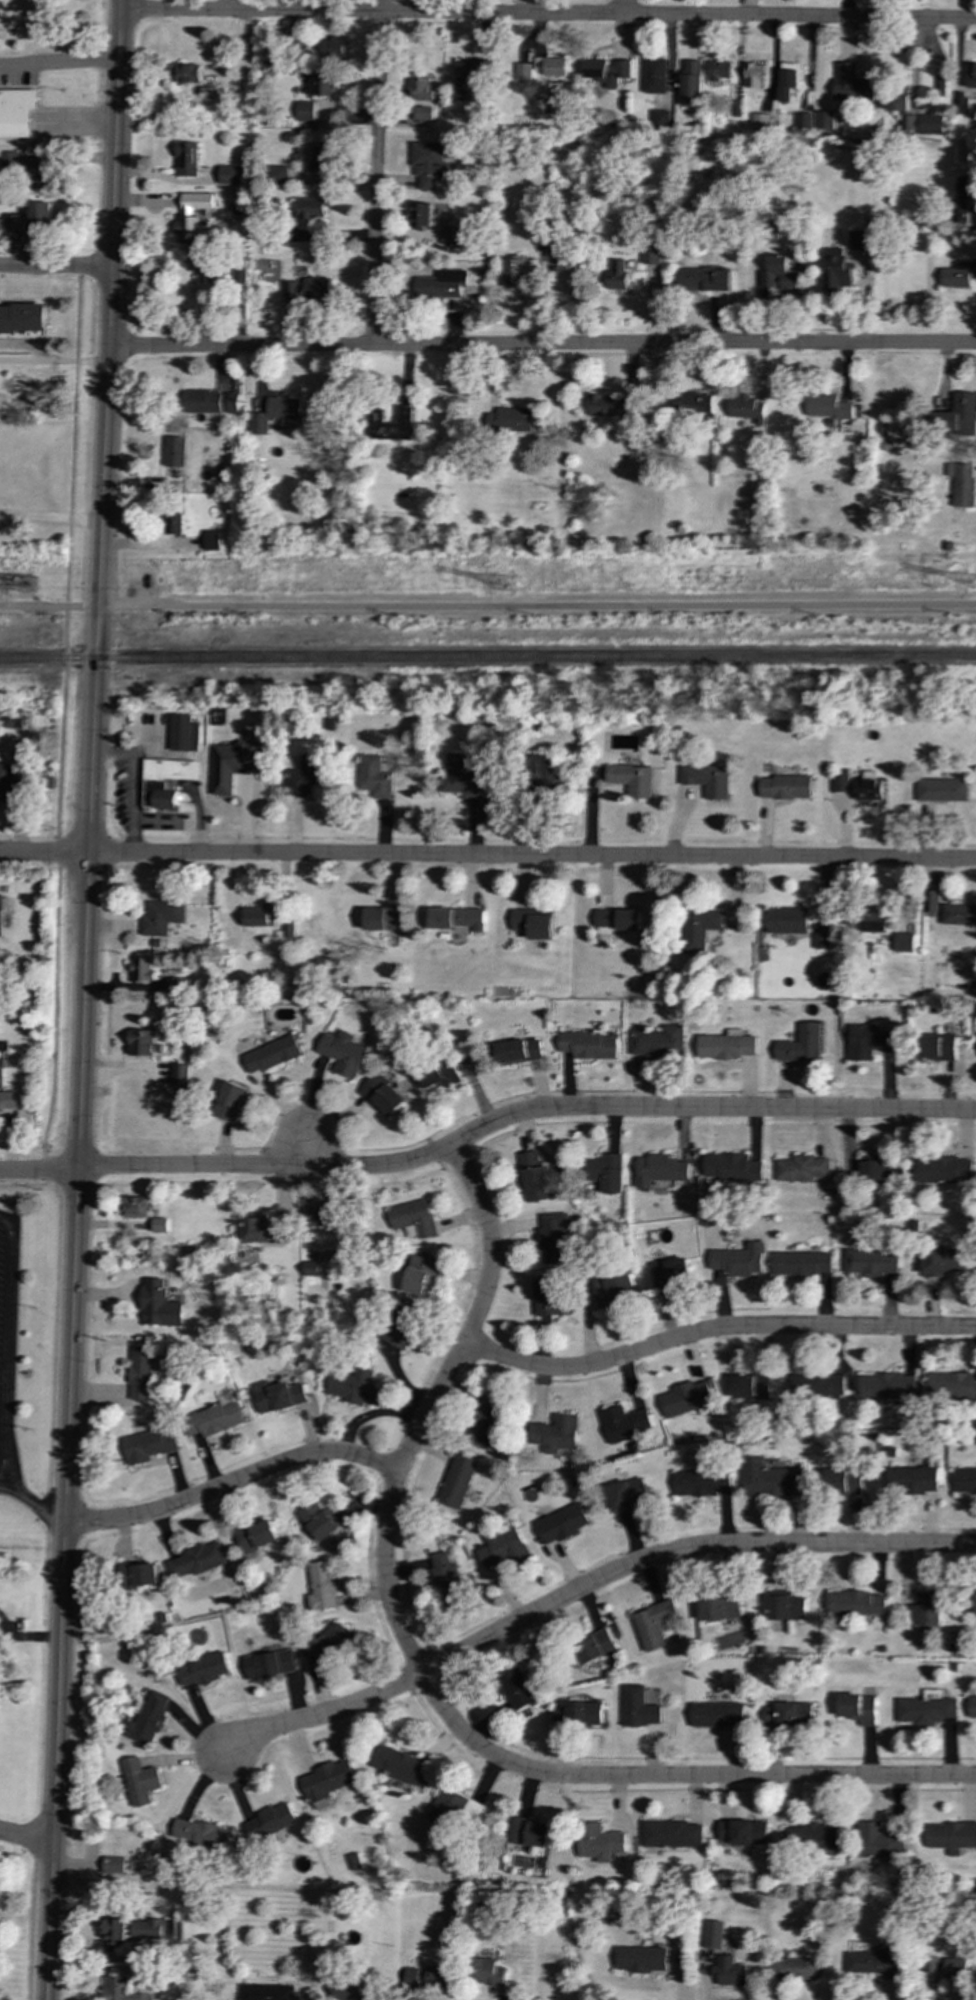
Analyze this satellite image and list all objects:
road: (625, 8)
road: (548, 15)
building: (331, 48)
road: (59, 60)
building: (550, 65)
building: (522, 71)
building: (607, 71)
building: (720, 71)
building: (184, 74)
building: (654, 75)
building: (753, 75)
building: (971, 75)
building: (468, 78)
building: (788, 80)
building: (690, 83)
building: (851, 84)
building: (323, 85)
building: (939, 85)
building: (419, 88)
building: (900, 109)
building: (305, 111)
building: (422, 113)
building: (659, 118)
building: (802, 120)
building: (823, 120)
road: (78, 121)
building: (760, 121)
building: (930, 123)
building: (186, 159)
building: (320, 160)
building: (428, 164)
road: (376, 173)
building: (229, 174)
building: (278, 174)
building: (39, 178)
building: (964, 195)
building: (313, 208)
building: (420, 214)
building: (191, 215)
building: (40, 216)
building: (11, 222)
building: (452, 235)
building: (859, 240)
building: (650, 254)
road: (55, 265)
building: (834, 270)
building: (210, 273)
building: (776, 274)
building: (959, 274)
building: (513, 275)
building: (617, 275)
building: (702, 279)
building: (441, 284)
building: (308, 288)
building: (22, 318)
road: (541, 345)
road: (53, 360)
building: (203, 402)
building: (232, 402)
building: (690, 404)
building: (609, 406)
building: (745, 407)
building: (826, 407)
building: (277, 415)
building: (957, 416)
building: (510, 419)
building: (390, 424)
road: (105, 426)
building: (175, 451)
building: (962, 483)
road: (51, 516)
building: (174, 523)
building: (212, 540)
road: (68, 559)
power tower: (510, 586)
power tower: (32, 589)
road: (42, 606)
road: (97, 606)
road: (542, 607)
railway: (488, 658)
building: (18, 721)
building: (184, 733)
building: (232, 765)
building: (543, 773)
building: (374, 776)
building: (304, 777)
building: (462, 777)
building: (631, 779)
building: (707, 779)
building: (166, 781)
building: (840, 783)
building: (10, 784)
building: (785, 787)
building: (868, 789)
building: (941, 790)
road: (29, 852)
road: (517, 855)
building: (930, 901)
building: (959, 914)
building: (1, 915)
building: (260, 915)
building: (162, 917)
building: (382, 918)
building: (458, 918)
building: (618, 919)
building: (788, 920)
building: (534, 922)
building: (874, 922)
building: (289, 928)
building: (700, 930)
building: (822, 940)
building: (904, 942)
building: (141, 970)
building: (174, 984)
road: (55, 1012)
building: (869, 1040)
building: (659, 1042)
building: (801, 1044)
building: (588, 1045)
building: (728, 1045)
building: (936, 1047)
building: (516, 1051)
building: (342, 1053)
building: (271, 1054)
building: (437, 1072)
building: (179, 1076)
building: (382, 1095)
building: (8, 1100)
building: (229, 1101)
road: (635, 1108)
road: (305, 1152)
building: (732, 1167)
road: (152, 1168)
building: (802, 1168)
building: (660, 1169)
building: (942, 1170)
building: (604, 1171)
building: (535, 1177)
road: (77, 1186)
building: (133, 1205)
building: (320, 1215)
building: (413, 1217)
building: (160, 1225)
building: (262, 1231)
building: (553, 1237)
building: (737, 1260)
building: (871, 1261)
building: (940, 1261)
building: (801, 1263)
building: (311, 1268)
building: (671, 1272)
building: (420, 1274)
building: (615, 1289)
building: (548, 1296)
building: (159, 1305)
road: (6, 1308)
building: (400, 1326)
road: (715, 1330)
building: (141, 1374)
building: (817, 1384)
building: (951, 1385)
building: (353, 1386)
building: (751, 1386)
building: (886, 1386)
building: (276, 1395)
building: (687, 1398)
road: (429, 1405)
building: (214, 1419)
building: (487, 1419)
building: (624, 1423)
building: (557, 1434)
building: (149, 1445)
road: (2, 1454)
building: (769, 1478)
building: (911, 1479)
building: (965, 1480)
building: (457, 1481)
road: (233, 1482)
building: (701, 1482)
building: (843, 1482)
building: (627, 1494)
road: (33, 1503)
building: (318, 1521)
building: (561, 1524)
building: (257, 1535)
building: (503, 1547)
road: (684, 1550)
building: (198, 1560)
building: (140, 1575)
building: (447, 1579)
building: (323, 1586)
building: (856, 1603)
building: (719, 1607)
building: (786, 1608)
building: (927, 1611)
building: (654, 1624)
building: (331, 1643)
building: (595, 1647)
building: (270, 1664)
building: (203, 1669)
building: (518, 1689)
building: (639, 1707)
building: (858, 1707)
building: (926, 1708)
building: (971, 1708)
building: (578, 1714)
building: (717, 1714)
building: (785, 1715)
road: (322, 1716)
building: (146, 1718)
road: (55, 1760)
building: (399, 1765)
road: (677, 1776)
building: (327, 1780)
building: (138, 1781)
building: (455, 1808)
building: (269, 1822)
building: (530, 1832)
building: (741, 1832)
building: (671, 1834)
building: (200, 1836)
building: (951, 1836)
road: (25, 1837)
building: (812, 1837)
building: (877, 1840)
building: (599, 1842)
building: (354, 1861)
building: (113, 1865)
building: (151, 1929)
building: (114, 1933)
building: (712, 1934)
building: (641, 1959)
building: (874, 1963)
building: (795, 1968)
building: (937, 1970)
building: (728, 1971)
building: (487, 1972)
building: (427, 1977)
building: (121, 1990)
building: (354, 1990)
building: (266, 1992)

